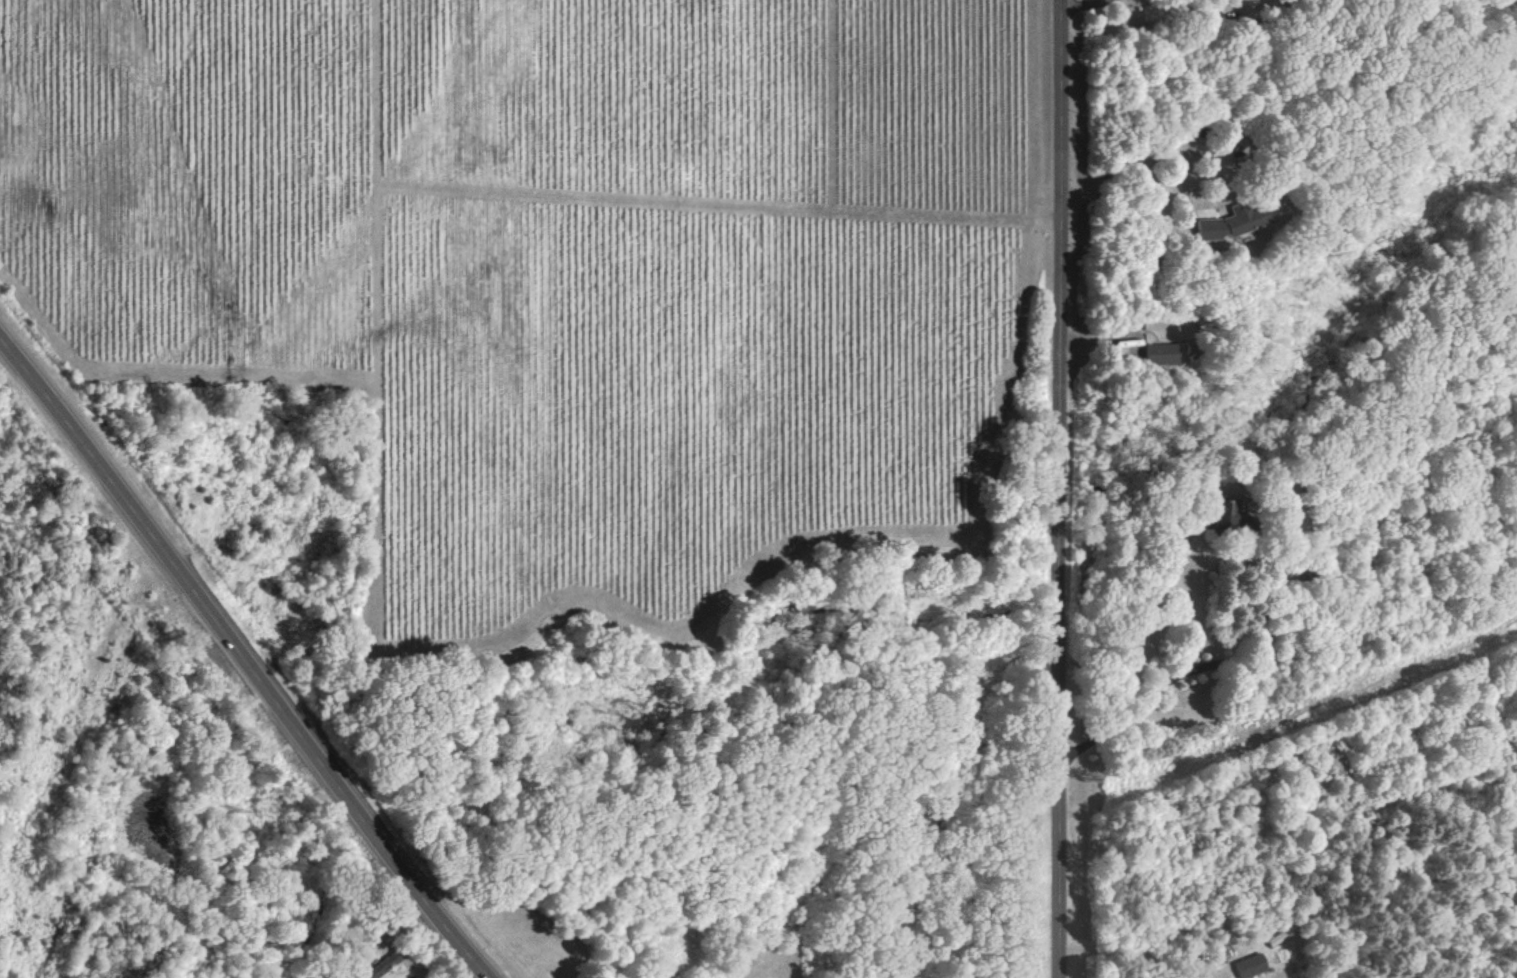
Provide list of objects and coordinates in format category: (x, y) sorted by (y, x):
road: (1081, 5)
road: (1151, 154)
building: (1236, 219)
building: (1162, 352)
road: (1058, 489)
building: (1221, 517)
road: (246, 656)
road: (1158, 683)
road: (1130, 949)
building: (1253, 966)

